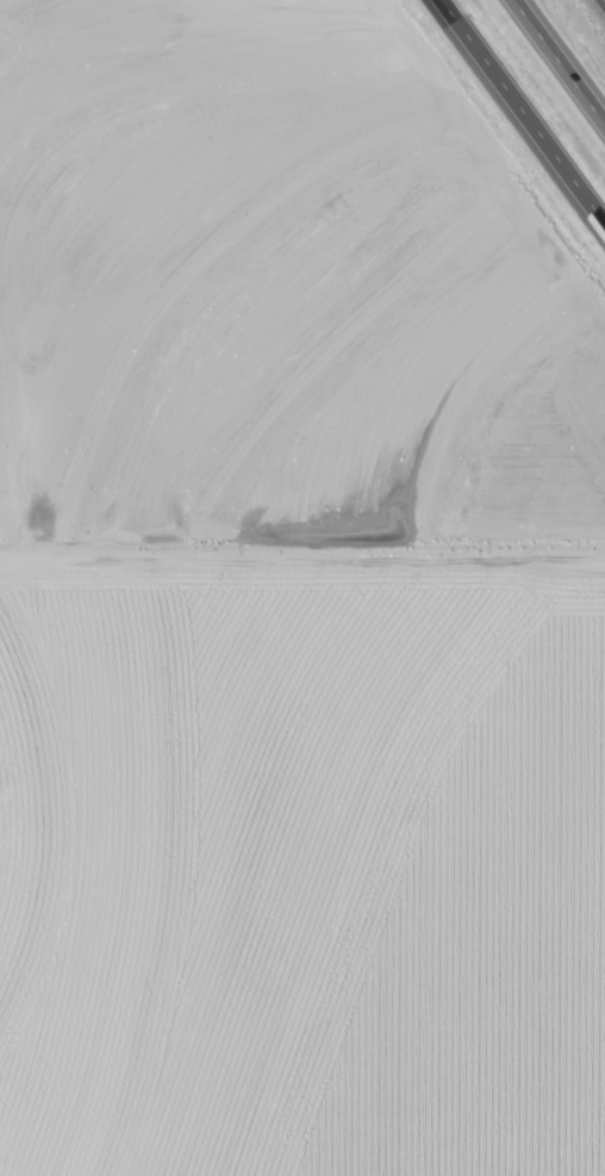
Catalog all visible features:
road: (566, 54)
road: (528, 102)
road: (301, 558)

